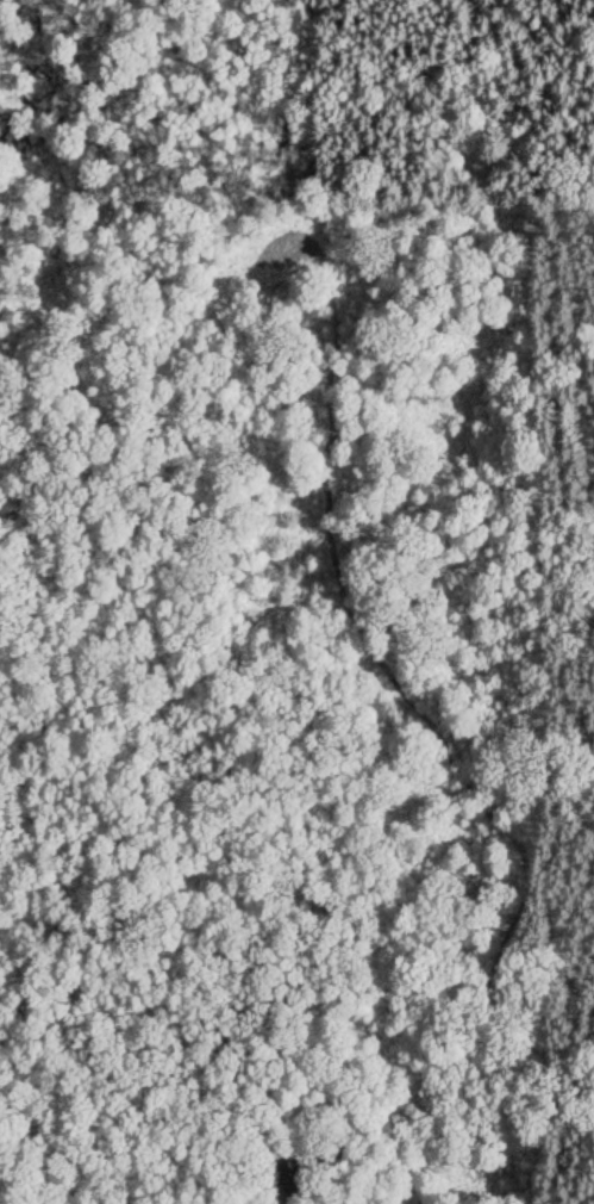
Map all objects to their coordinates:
road: (339, 588)

